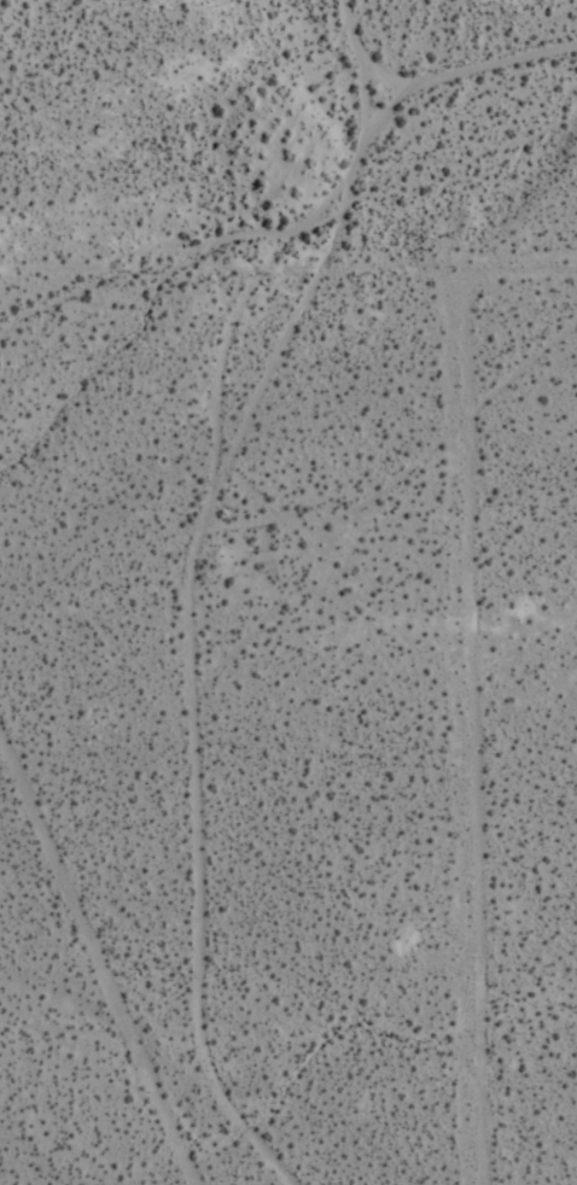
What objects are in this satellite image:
road: (222, 290)
road: (192, 585)
road: (459, 739)

